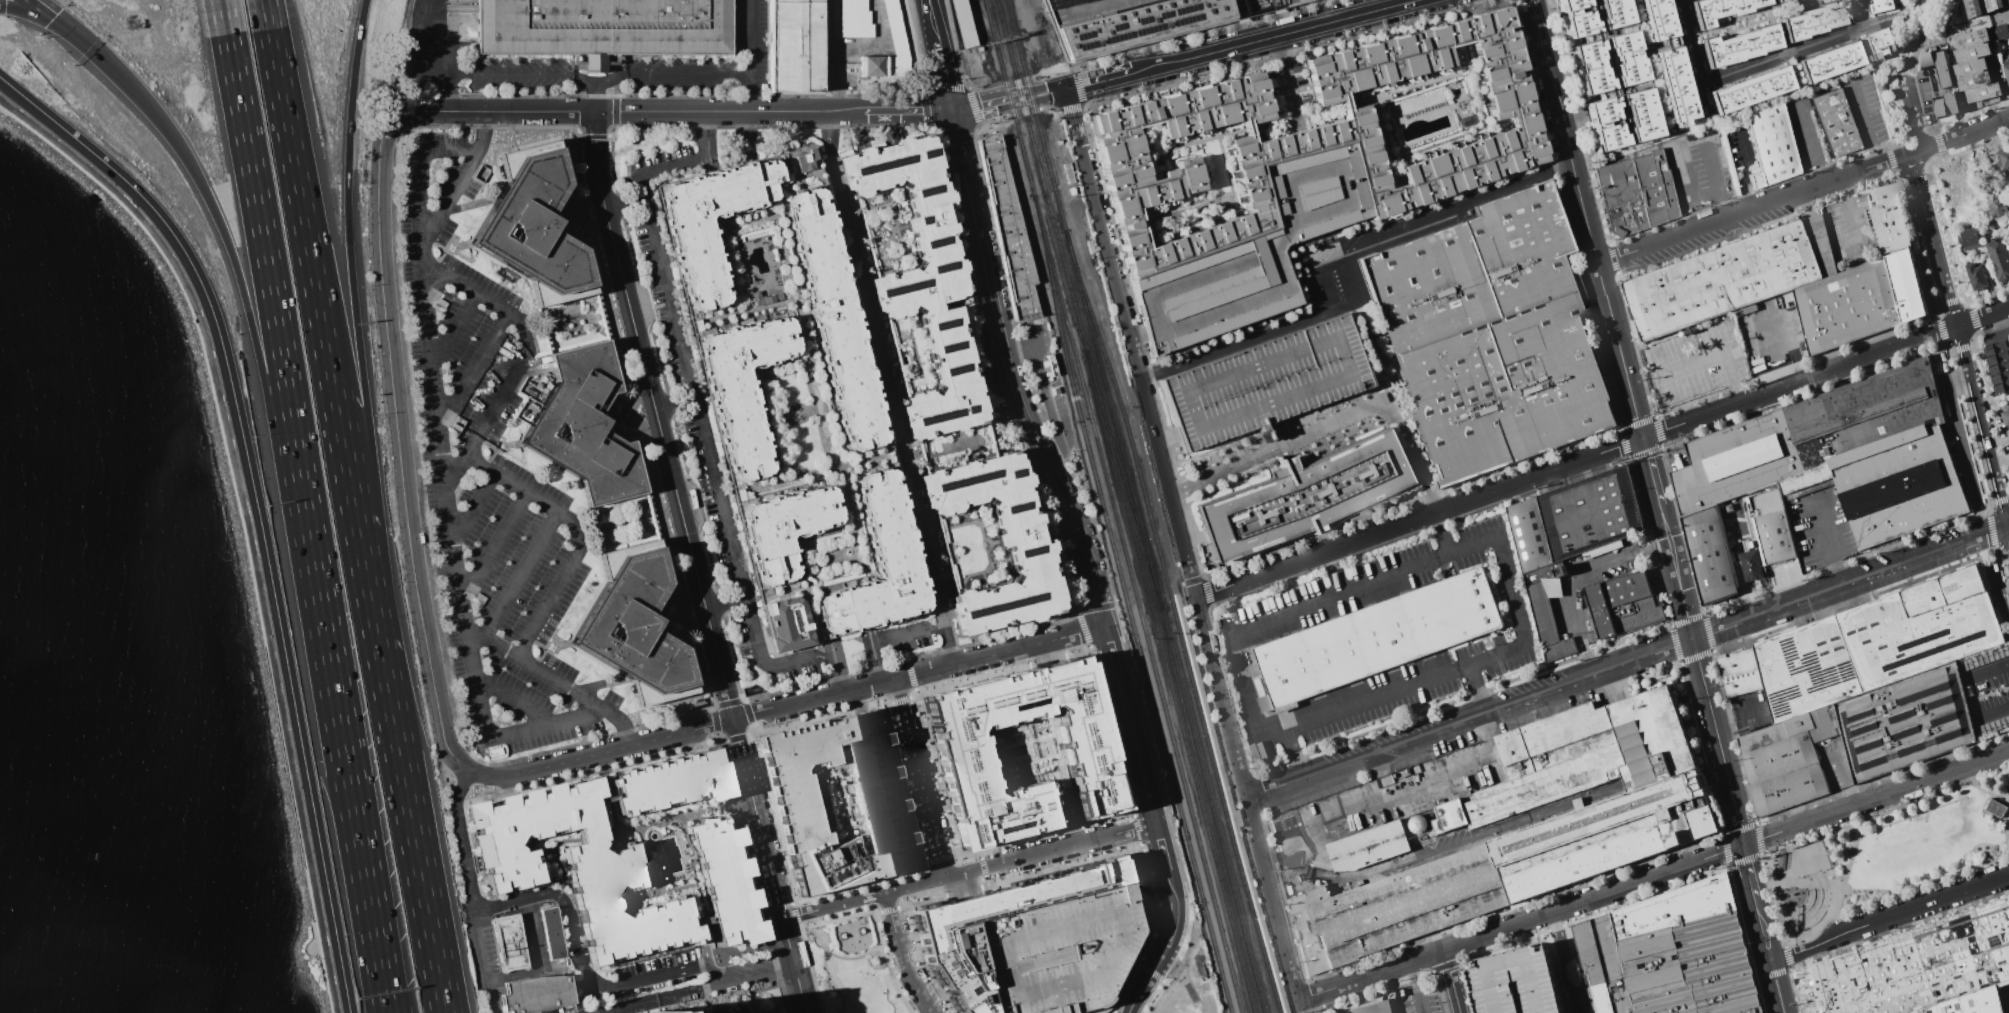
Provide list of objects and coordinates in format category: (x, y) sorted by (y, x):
building: (1776, 0)
parking lot: (2008, 0)
building: (1569, 4)
building: (1883, 5)
building: (1985, 7)
road: (41, 8)
building: (1718, 9)
road: (26, 10)
road: (1922, 12)
building: (1611, 13)
road: (1900, 13)
road: (2002, 13)
road: (1863, 14)
traffic signals: (53, 17)
road: (1755, 18)
building: (854, 19)
building: (1655, 19)
building: (1810, 20)
building: (1143, 21)
road: (931, 22)
building: (962, 23)
building: (1577, 24)
building: (603, 26)
building: (896, 28)
building: (1998, 32)
road: (1541, 34)
road: (1272, 36)
building: (1972, 38)
road: (1921, 40)
building: (1879, 43)
road: (88, 44)
building: (1739, 45)
building: (794, 46)
road: (1796, 51)
building: (1971, 52)
road: (749, 55)
building: (1623, 56)
road: (1695, 56)
building: (1927, 59)
building: (1827, 60)
road: (1950, 60)
building: (1587, 67)
building: (1970, 67)
building: (1942, 69)
building: (2005, 70)
road: (562, 72)
road: (943, 76)
road: (1098, 78)
building: (1973, 80)
road: (1286, 83)
road: (1474, 84)
building: (1673, 84)
road: (834, 88)
building: (1749, 89)
road: (446, 91)
building: (1983, 92)
road: (1039, 93)
road: (1768, 99)
road: (982, 104)
building: (1951, 104)
building: (1343, 105)
building: (1941, 107)
road: (1317, 109)
road: (1470, 109)
road: (907, 110)
traffic signals: (950, 110)
building: (1599, 110)
road: (494, 111)
road: (729, 111)
road: (1423, 113)
railway: (1035, 115)
building: (1637, 115)
road: (1915, 116)
road: (1073, 120)
road: (1967, 122)
road: (1866, 123)
building: (1835, 124)
building: (1247, 131)
road: (1152, 134)
building: (1316, 134)
building: (1605, 137)
road: (1302, 141)
road: (1694, 141)
road: (955, 143)
road: (1809, 144)
building: (1771, 147)
road: (1419, 149)
road: (1156, 156)
road: (691, 158)
building: (2004, 158)
road: (1169, 160)
road: (1148, 165)
road: (1227, 170)
road: (1743, 170)
road: (1209, 176)
road: (460, 183)
railway: (1043, 185)
road: (1804, 192)
building: (1636, 194)
road: (300, 205)
road: (1235, 206)
road: (970, 207)
building: (1997, 210)
building: (1889, 217)
road: (1850, 218)
road: (1142, 221)
building: (534, 226)
road: (1148, 228)
building: (1008, 230)
road: (1933, 238)
building: (1970, 239)
building: (2008, 248)
building: (1255, 251)
parking garage: (1255, 251)
road: (1597, 252)
building: (1998, 259)
road: (1341, 264)
building: (1974, 276)
building: (1731, 278)
road: (270, 282)
building: (1908, 285)
road: (627, 302)
building: (1848, 306)
road: (246, 308)
road: (354, 313)
road: (454, 331)
building: (1492, 336)
road: (1787, 345)
road: (1372, 351)
road: (1711, 352)
road: (525, 358)
building: (1999, 364)
road: (881, 368)
road: (473, 370)
road: (1138, 375)
building: (1267, 382)
parking lot: (1267, 382)
building: (947, 390)
building: (793, 397)
railway: (1108, 402)
building: (2005, 412)
road: (702, 420)
railway: (1125, 422)
building: (584, 425)
road: (1982, 425)
road: (1334, 426)
building: (2008, 427)
parking lot: (1309, 430)
road: (1029, 435)
traffic signals: (1644, 438)
road: (1980, 441)
road: (397, 447)
road: (1602, 453)
building: (1880, 454)
building: (1737, 463)
railway: (1121, 472)
road: (1652, 473)
parking lot: (487, 474)
road: (445, 476)
building: (1307, 496)
road: (255, 503)
railway: (1112, 506)
road: (473, 510)
road: (244, 517)
road: (357, 519)
building: (1576, 519)
building: (1764, 524)
road: (575, 537)
road: (1826, 541)
road: (494, 548)
building: (1711, 556)
building: (1753, 566)
building: (1544, 574)
road: (521, 575)
road: (1204, 579)
road: (1364, 584)
railway: (1178, 595)
road: (1181, 595)
road: (1510, 598)
road: (726, 603)
road: (704, 605)
railway: (1127, 607)
building: (1624, 607)
building: (634, 625)
building: (1549, 625)
building: (1922, 628)
road: (1084, 631)
road: (905, 636)
building: (1383, 638)
road: (378, 642)
road: (1057, 649)
road: (1043, 653)
road: (1035, 655)
road: (818, 656)
road: (1047, 659)
road: (1627, 662)
road: (1115, 665)
building: (1806, 669)
road: (1989, 669)
road: (919, 672)
building: (1741, 673)
road: (911, 677)
road: (557, 683)
railway: (1171, 692)
road: (901, 699)
road: (514, 700)
road: (882, 702)
road: (712, 707)
road: (1994, 710)
park: (275, 711)
road: (1739, 712)
building: (1905, 722)
road: (925, 728)
road: (1258, 728)
road: (346, 742)
road: (601, 752)
building: (1023, 752)
road: (1290, 758)
building: (1579, 759)
road: (1722, 760)
building: (1788, 762)
road: (1140, 764)
road: (1843, 774)
road: (920, 777)
building: (671, 784)
road: (750, 790)
railway: (1207, 793)
road: (1125, 794)
road: (1245, 796)
road: (1389, 796)
road: (1875, 798)
building: (839, 801)
building: (1996, 811)
road: (1132, 814)
railway: (1225, 815)
road: (1137, 829)
road: (413, 834)
road: (1138, 844)
road: (1137, 847)
building: (1370, 850)
road: (952, 855)
road: (979, 855)
road: (1162, 855)
road: (937, 858)
park: (1887, 858)
road: (926, 862)
road: (983, 867)
building: (579, 870)
building: (647, 871)
road: (968, 871)
building: (1502, 874)
road: (986, 880)
building: (727, 881)
road: (968, 882)
road: (953, 886)
road: (865, 887)
road: (473, 889)
road: (962, 890)
road: (867, 896)
road: (1592, 896)
road: (777, 902)
road: (794, 902)
road: (791, 904)
road: (901, 906)
road: (871, 907)
road: (888, 909)
road: (878, 912)
road: (1890, 915)
road: (848, 916)
street lamp: (881, 930)
building: (946, 931)
road: (1524, 934)
building: (554, 940)
building: (509, 942)
road: (915, 943)
building: (1058, 951)
parking garage: (1058, 951)
road: (1160, 952)
road: (837, 955)
road: (900, 955)
building: (1671, 956)
road: (578, 957)
road: (1135, 961)
road: (1563, 962)
park: (852, 963)
road: (376, 965)
road: (381, 965)
road: (543, 966)
building: (1918, 969)
road: (1150, 971)
road: (1369, 974)
road: (740, 975)
street lamp: (822, 976)
road: (796, 978)
road: (1450, 980)
road: (830, 982)
building: (1517, 982)
parking lot: (1517, 982)
street lamp: (901, 986)
road: (1413, 987)
road: (673, 992)
flagpole: (1393, 992)
building: (540, 994)
road: (1158, 994)
parking lot: (1420, 1003)
road: (1307, 1004)
road: (1103, 1008)
building: (1370, 1008)
road: (1104, 1010)
building: (650, 1012)

